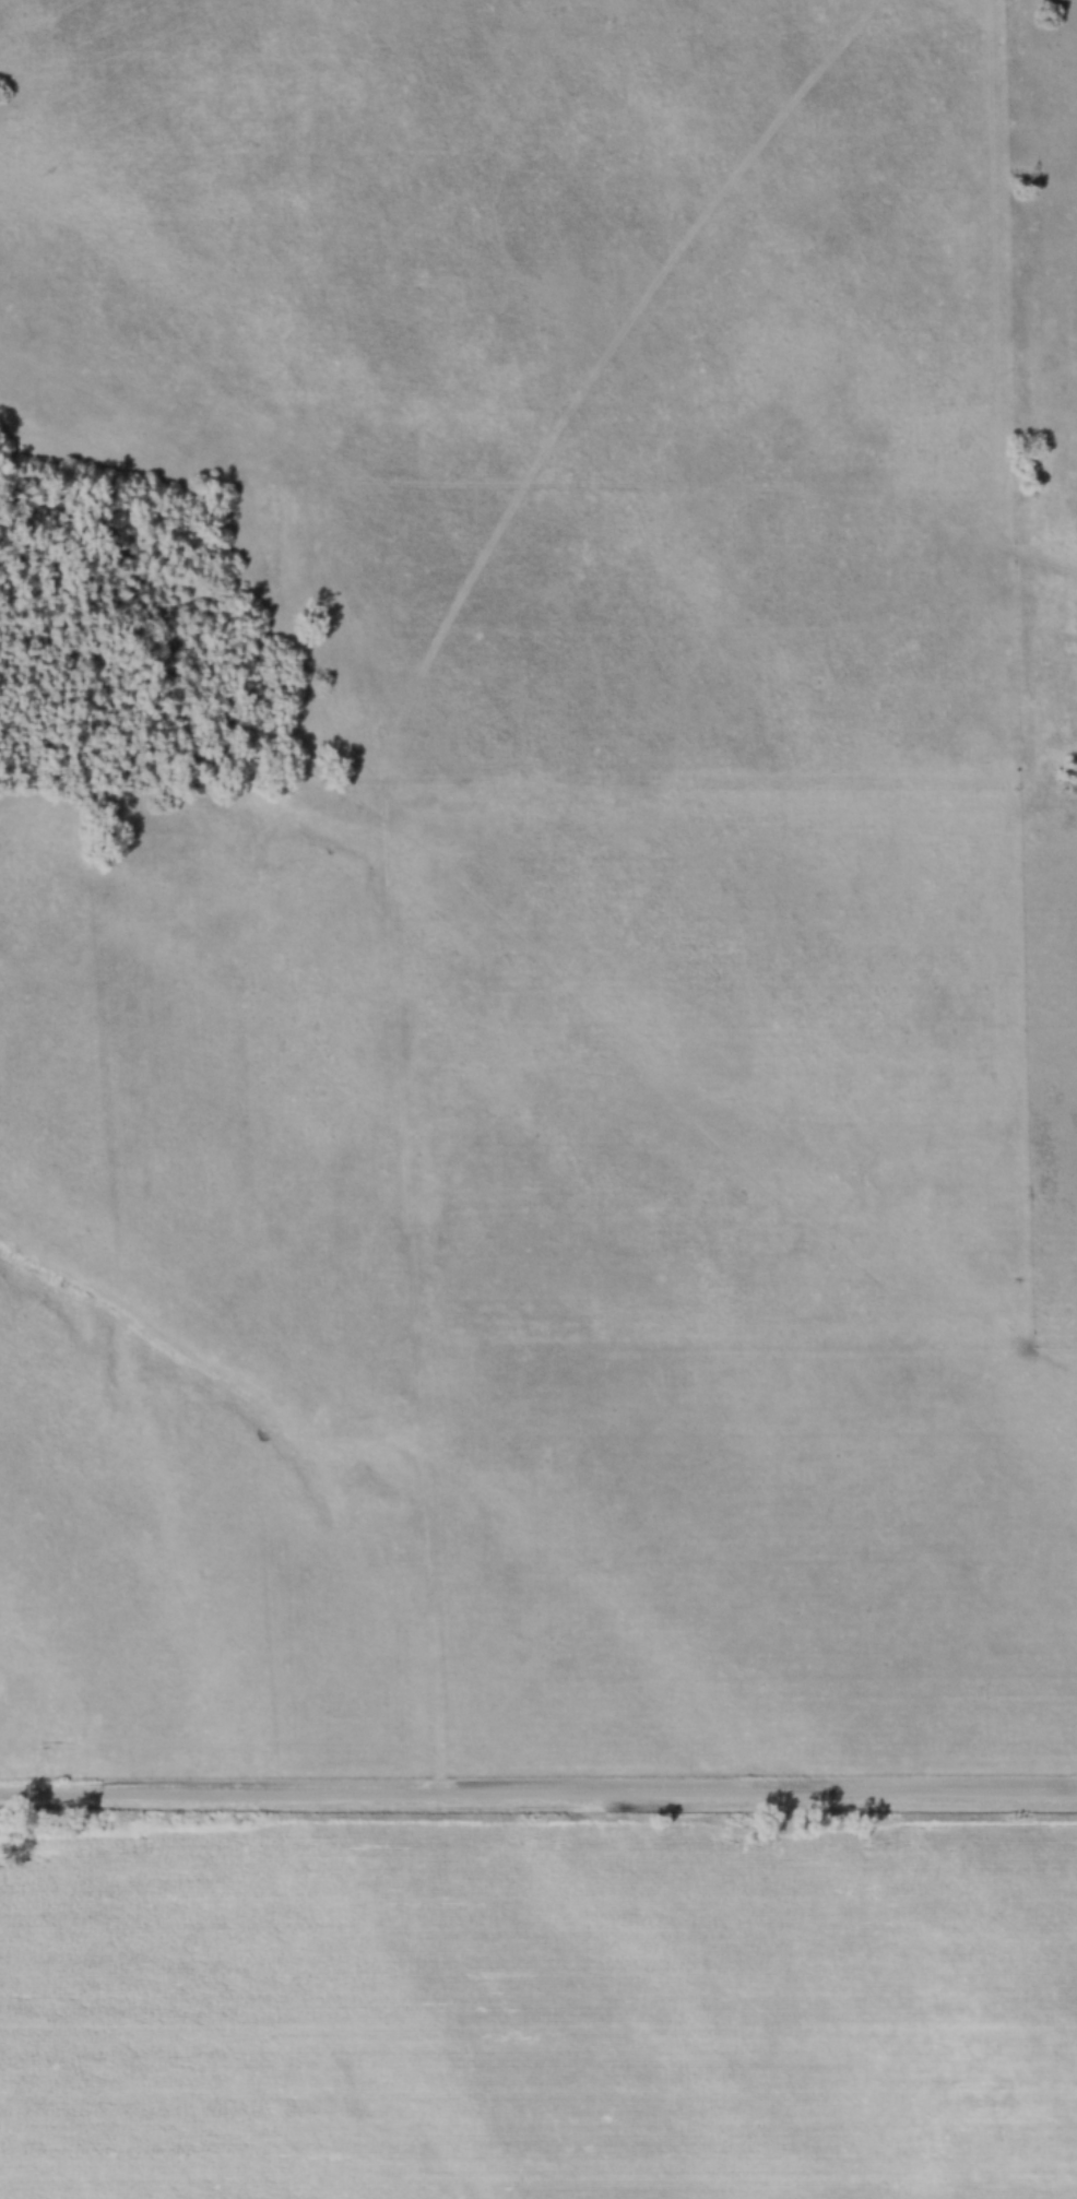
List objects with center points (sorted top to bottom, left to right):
road: (537, 1801)

